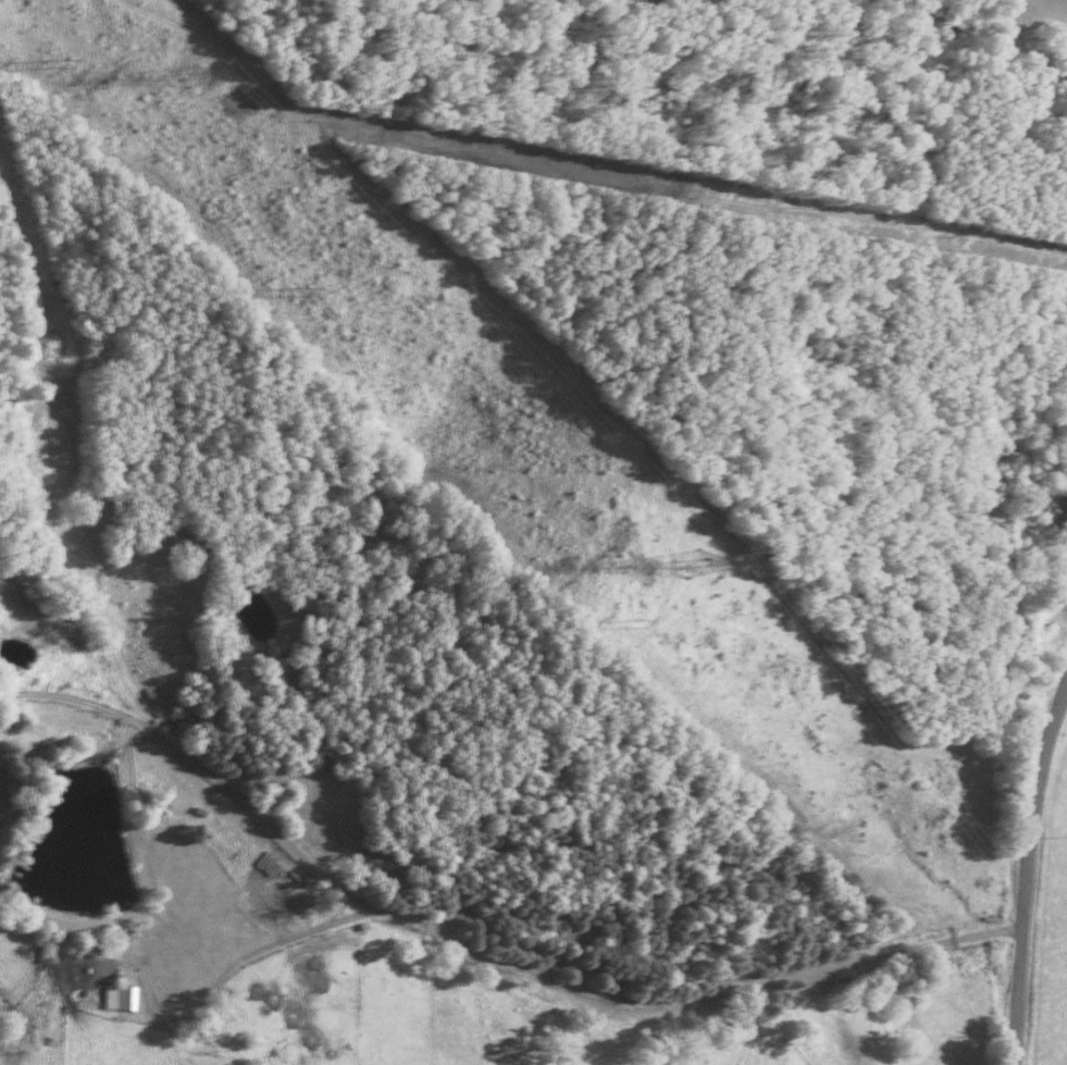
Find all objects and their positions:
power tower: (182, 77)
building: (1055, 512)
power tower: (683, 564)
road: (74, 703)
road: (1029, 869)
road: (372, 905)
road: (247, 955)
building: (113, 998)

